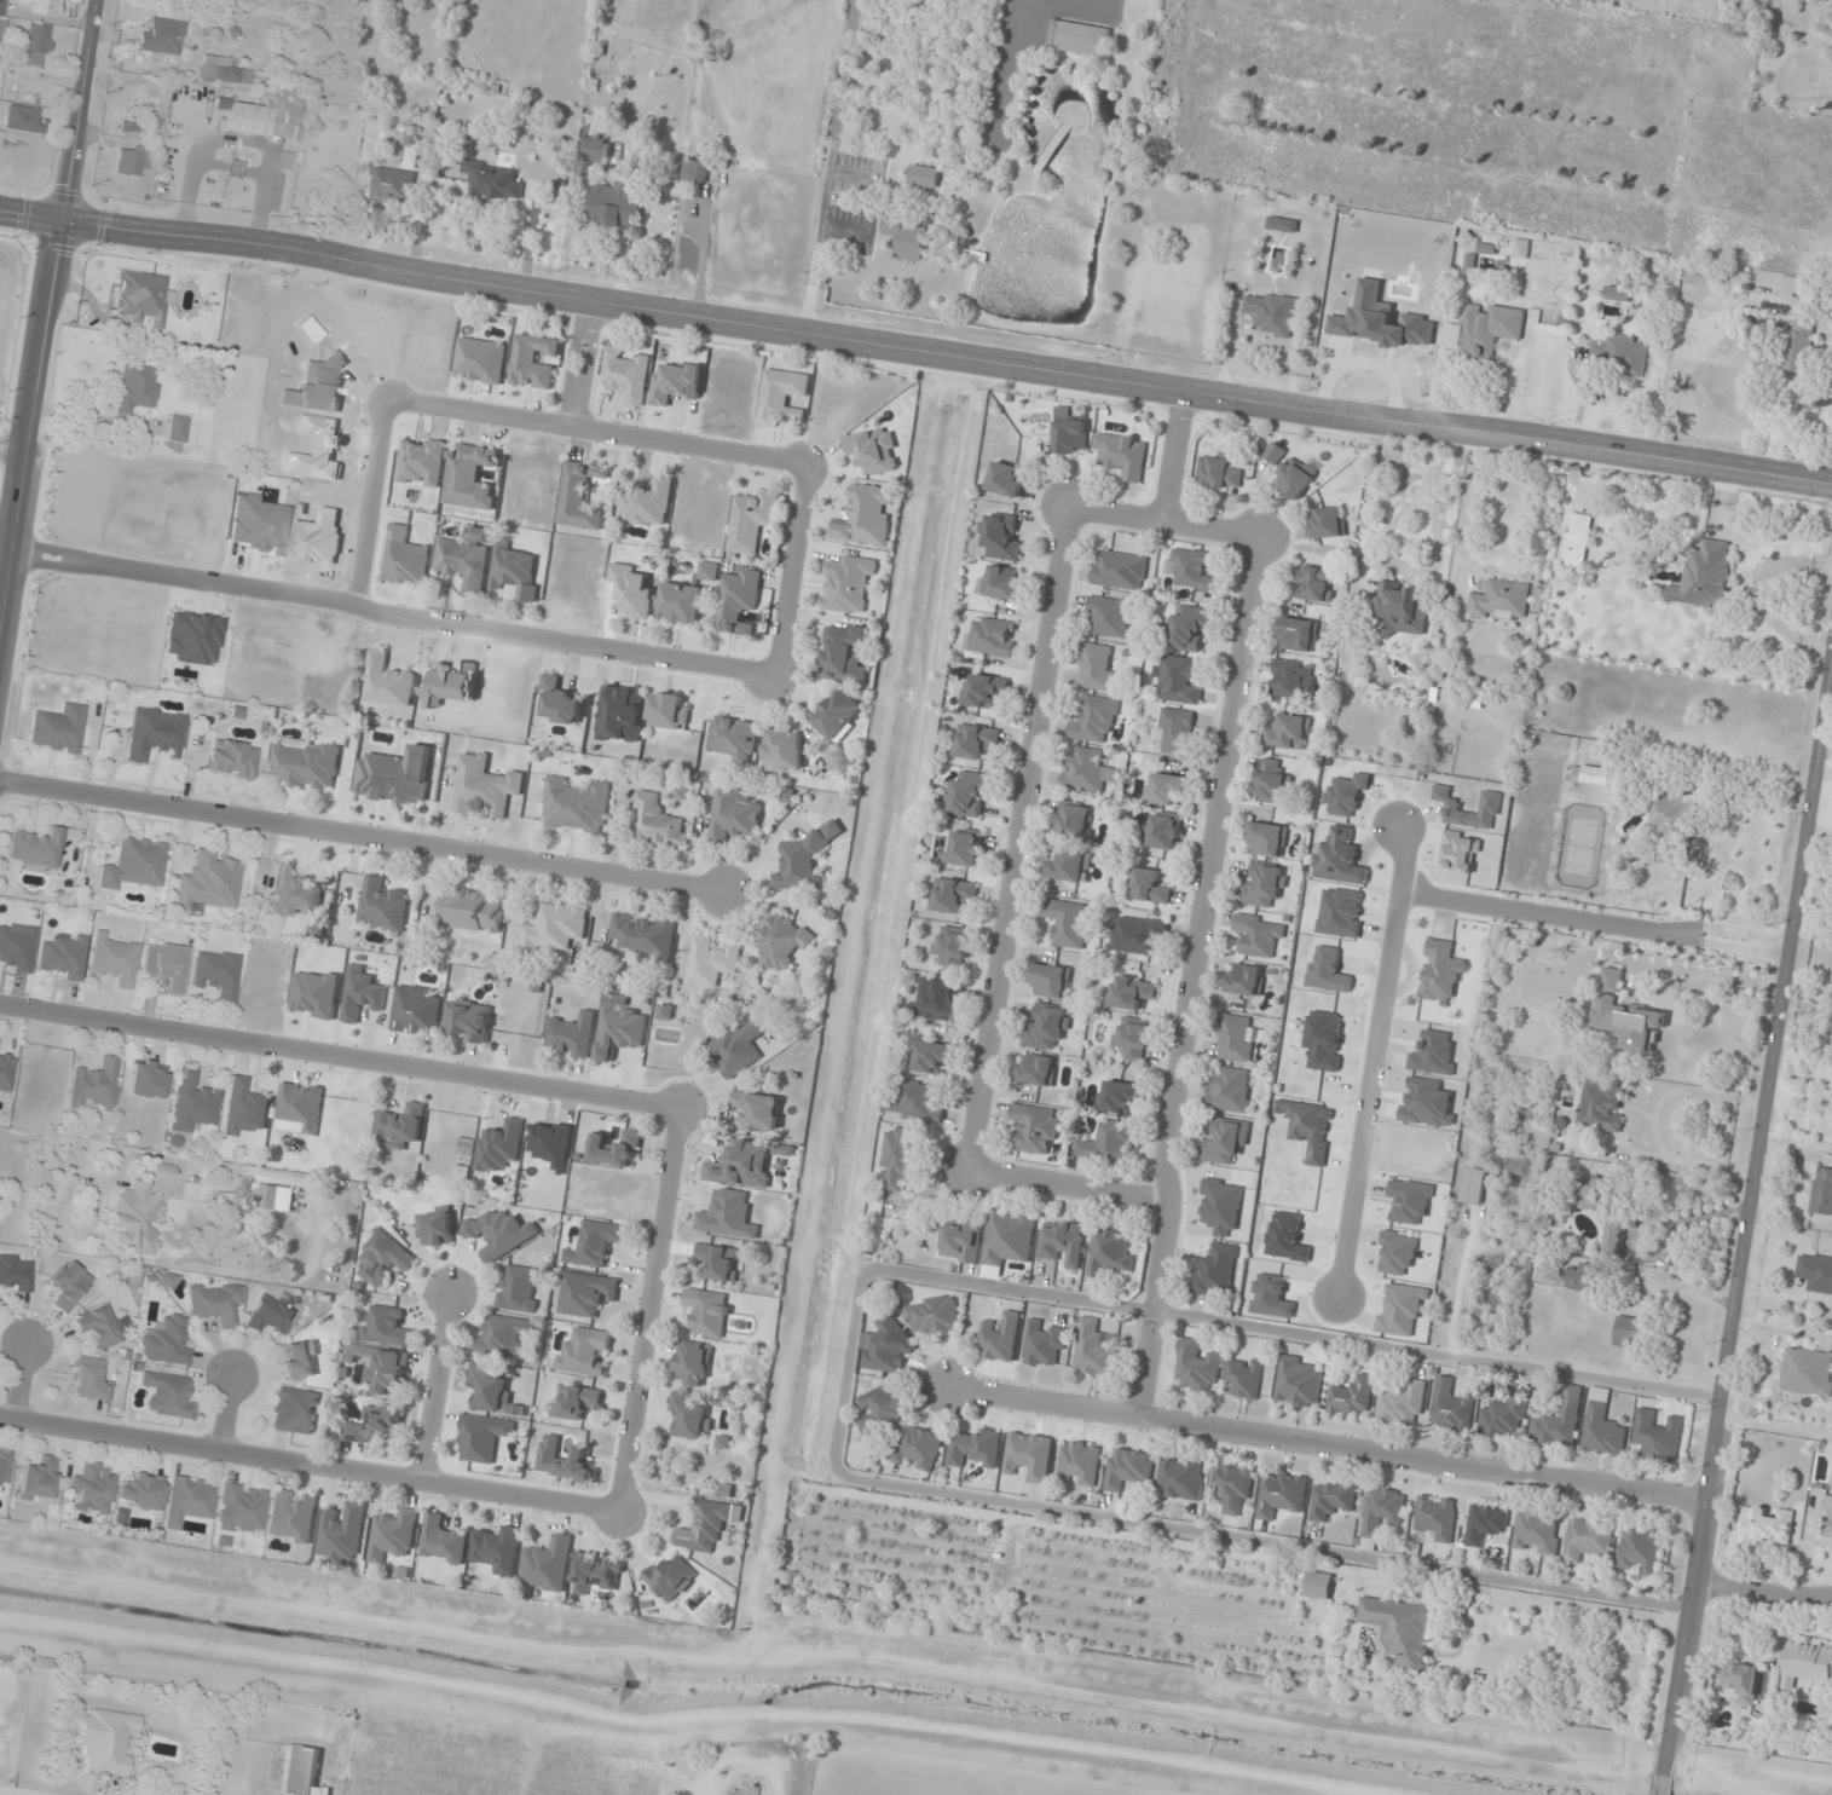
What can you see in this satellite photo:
building: (0, 7)
building: (45, 7)
building: (1, 29)
building: (160, 35)
building: (1079, 39)
building: (36, 45)
building: (220, 70)
building: (264, 117)
building: (21, 119)
building: (129, 131)
building: (594, 148)
building: (132, 160)
road: (827, 165)
building: (695, 171)
road: (854, 175)
building: (925, 175)
building: (493, 180)
building: (397, 181)
building: (559, 191)
building: (1501, 203)
building: (616, 206)
traffic signals: (69, 223)
building: (1282, 224)
road: (845, 229)
building: (908, 238)
building: (1701, 278)
building: (1618, 292)
building: (140, 298)
building: (1271, 313)
building: (1490, 331)
road: (51, 336)
building: (1798, 344)
road: (915, 347)
building: (1619, 357)
building: (480, 360)
building: (532, 362)
road: (584, 364)
building: (626, 374)
building: (137, 387)
building: (782, 397)
building: (177, 428)
road: (605, 431)
building: (1071, 437)
road: (17, 450)
road: (1175, 454)
building: (1275, 454)
building: (1122, 455)
building: (1219, 472)
building: (470, 477)
building: (1295, 478)
building: (1006, 479)
building: (580, 495)
building: (646, 503)
building: (866, 516)
road: (1167, 520)
building: (752, 521)
building: (1328, 524)
building: (1001, 539)
building: (1578, 539)
building: (404, 559)
building: (464, 559)
road: (790, 568)
building: (1190, 570)
building: (514, 571)
building: (707, 571)
building: (1120, 571)
building: (1705, 576)
road: (187, 579)
building: (1002, 583)
building: (1316, 583)
building: (848, 585)
building: (634, 591)
building: (739, 601)
building: (1501, 601)
building: (681, 604)
building: (1402, 608)
building: (1110, 616)
road: (452, 625)
building: (1190, 627)
building: (1298, 634)
building: (992, 636)
building: (843, 654)
building: (1097, 666)
building: (1291, 679)
building: (386, 681)
building: (1178, 681)
building: (983, 689)
building: (557, 703)
building: (668, 711)
building: (619, 714)
building: (838, 715)
building: (1096, 720)
building: (57, 728)
building: (1175, 731)
building: (154, 733)
building: (1287, 733)
building: (976, 741)
building: (782, 751)
building: (230, 758)
building: (305, 764)
building: (1088, 772)
building: (1593, 774)
building: (394, 775)
building: (1272, 783)
building: (485, 786)
building: (1166, 789)
building: (970, 792)
building: (574, 806)
building: (733, 814)
building: (1074, 821)
building: (658, 823)
building: (1671, 827)
building: (1162, 831)
road: (365, 837)
road: (1021, 839)
building: (1266, 839)
building: (34, 848)
building: (965, 848)
building: (801, 861)
building: (132, 862)
building: (1070, 866)
building: (207, 882)
building: (1264, 885)
building: (1149, 887)
building: (294, 893)
building: (953, 895)
building: (382, 905)
building: (472, 912)
road: (1594, 919)
building: (1068, 923)
building: (554, 928)
building: (646, 934)
building: (1138, 935)
building: (1259, 935)
building: (782, 942)
building: (953, 948)
building: (112, 959)
building: (710, 962)
building: (166, 964)
building: (215, 972)
road: (1194, 976)
building: (1244, 979)
building: (1051, 981)
building: (1131, 992)
building: (314, 993)
building: (363, 994)
building: (936, 1000)
building: (416, 1010)
building: (468, 1020)
building: (1047, 1028)
building: (620, 1031)
building: (571, 1035)
building: (1133, 1038)
building: (1236, 1038)
building: (734, 1051)
road: (1775, 1051)
road: (342, 1055)
road: (1372, 1055)
building: (930, 1057)
building: (1036, 1069)
building: (5, 1070)
building: (145, 1079)
building: (94, 1084)
building: (1231, 1089)
building: (1120, 1096)
building: (915, 1102)
building: (1601, 1106)
building: (189, 1107)
building: (244, 1107)
building: (299, 1108)
building: (758, 1110)
building: (400, 1126)
building: (1036, 1129)
building: (1226, 1142)
building: (1108, 1144)
building: (499, 1145)
building: (617, 1148)
building: (900, 1156)
building: (742, 1165)
building: (1473, 1185)
road: (1071, 1187)
building: (1821, 1191)
building: (1594, 1194)
building: (270, 1196)
building: (139, 1210)
building: (728, 1214)
building: (438, 1225)
building: (503, 1233)
building: (1614, 1237)
building: (1009, 1240)
building: (963, 1241)
building: (1064, 1242)
building: (596, 1243)
building: (1109, 1252)
building: (385, 1259)
building: (718, 1260)
building: (1215, 1271)
building: (1816, 1271)
building: (15, 1272)
building: (1584, 1277)
building: (67, 1285)
building: (518, 1288)
building: (586, 1293)
building: (214, 1303)
road: (653, 1309)
building: (707, 1312)
building: (271, 1315)
building: (932, 1315)
building: (99, 1326)
building: (386, 1326)
building: (1629, 1332)
building: (504, 1337)
building: (999, 1338)
building: (164, 1341)
building: (1044, 1345)
building: (885, 1347)
building: (1093, 1349)
building: (585, 1352)
building: (300, 1360)
building: (694, 1362)
building: (1196, 1366)
building: (382, 1367)
building: (1808, 1373)
building: (1244, 1378)
building: (89, 1380)
building: (1299, 1381)
road: (23, 1383)
road: (440, 1385)
building: (490, 1389)
building: (167, 1395)
building: (1353, 1396)
building: (579, 1401)
building: (1403, 1403)
building: (1451, 1407)
road: (229, 1409)
building: (882, 1409)
building: (294, 1410)
building: (690, 1414)
building: (1503, 1419)
building: (1560, 1420)
building: (372, 1425)
building: (1603, 1426)
building: (1658, 1436)
building: (482, 1438)
building: (917, 1447)
road: (1328, 1448)
building: (976, 1450)
building: (1029, 1455)
building: (564, 1460)
road: (311, 1462)
building: (4, 1464)
building: (1080, 1464)
building: (1128, 1468)
building: (1181, 1477)
building: (37, 1478)
building: (1831, 1478)
building: (92, 1487)
building: (1233, 1488)
building: (141, 1490)
building: (1282, 1493)
building: (1333, 1499)
building: (189, 1500)
building: (241, 1508)
building: (1382, 1512)
building: (293, 1516)
building: (1437, 1517)
building: (1486, 1523)
building: (1827, 1524)
building: (705, 1525)
building: (1767, 1525)
building: (341, 1533)
building: (1538, 1533)
building: (393, 1535)
building: (1588, 1540)
building: (444, 1541)
building: (499, 1549)
building: (1640, 1551)
building: (547, 1563)
building: (595, 1572)
building: (671, 1578)
building: (1319, 1585)
road: (1763, 1592)
road: (1691, 1612)
building: (1403, 1630)
building: (1807, 1661)
building: (1739, 1684)
building: (105, 1739)
building: (301, 1772)
road: (10, 1793)

